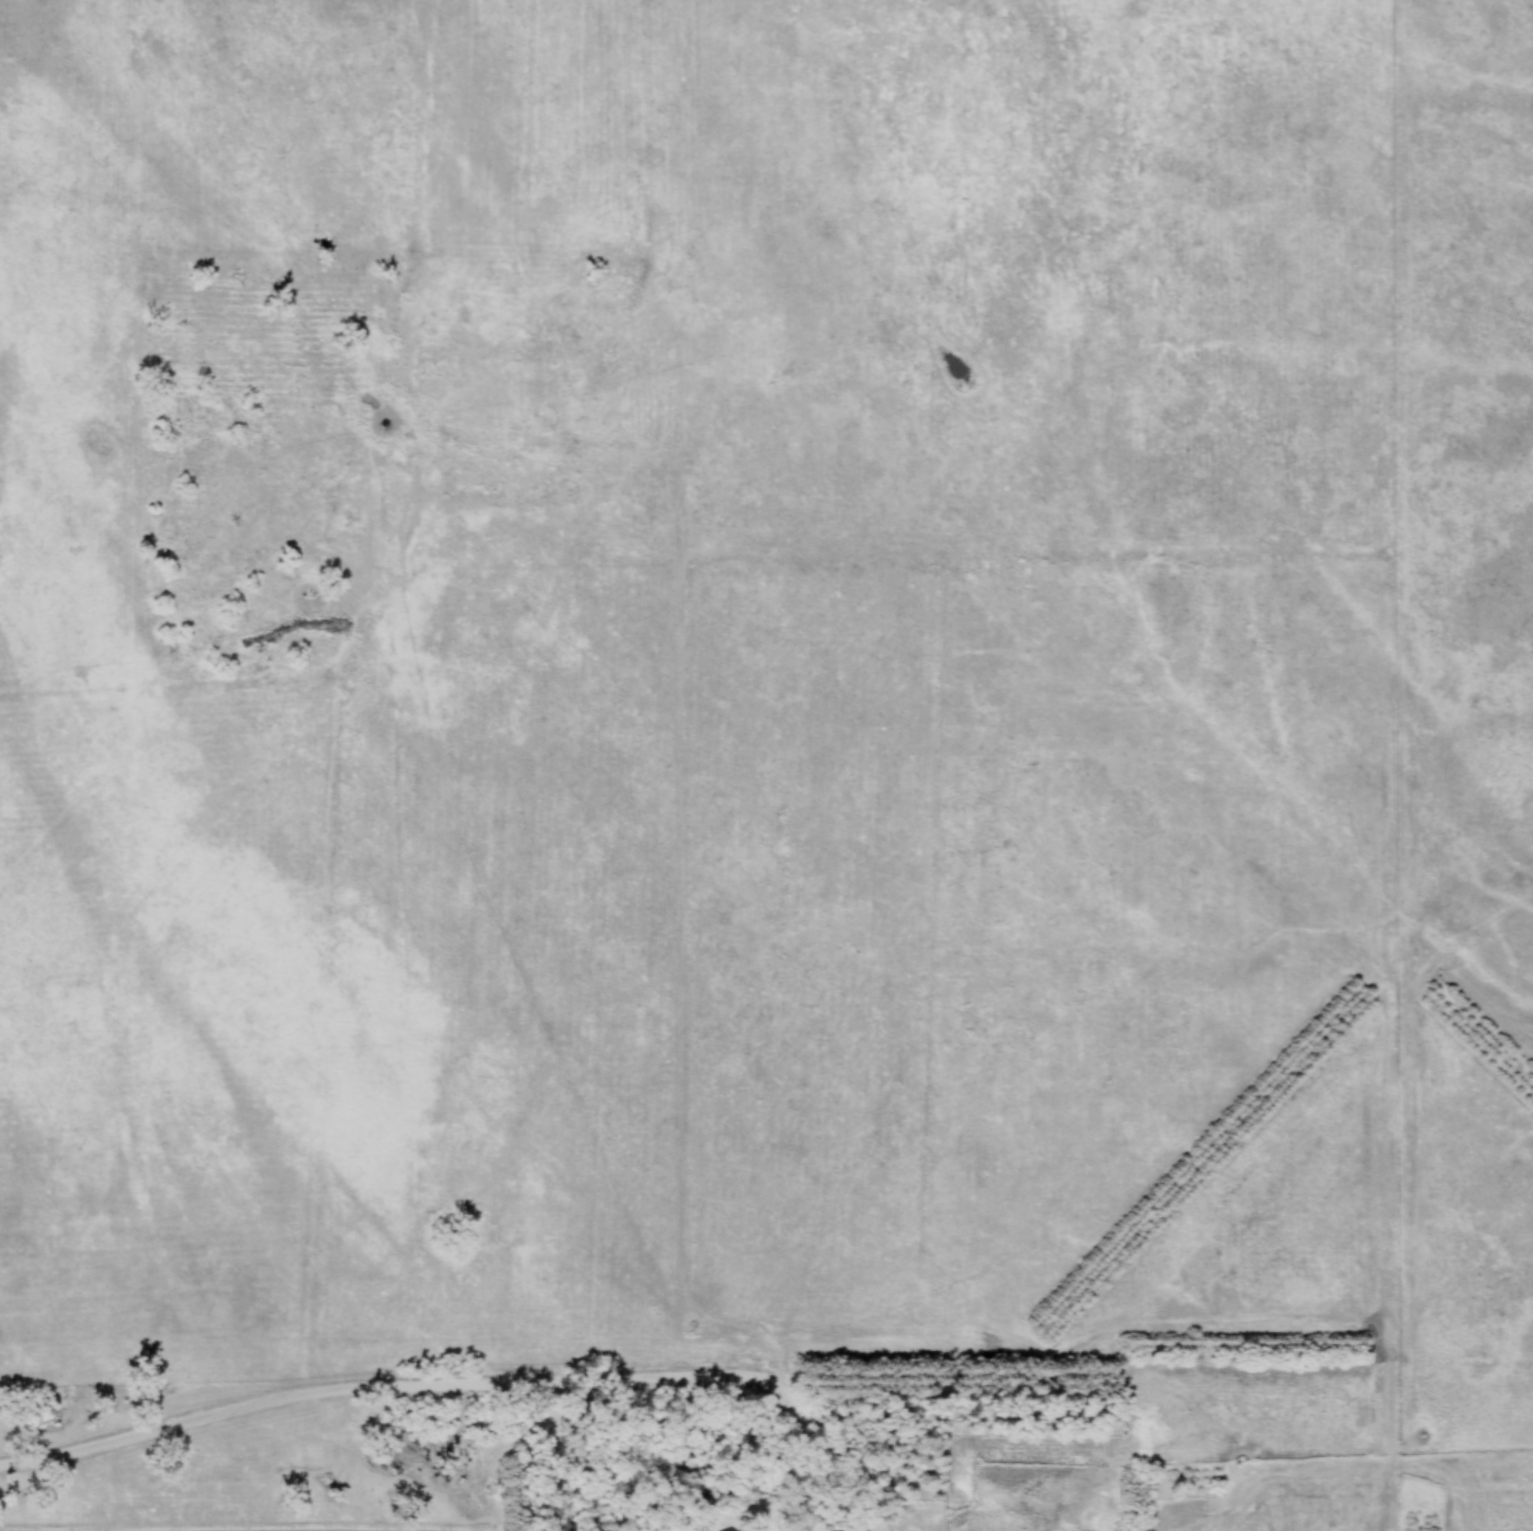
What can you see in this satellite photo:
road: (372, 1390)
road: (802, 1444)

